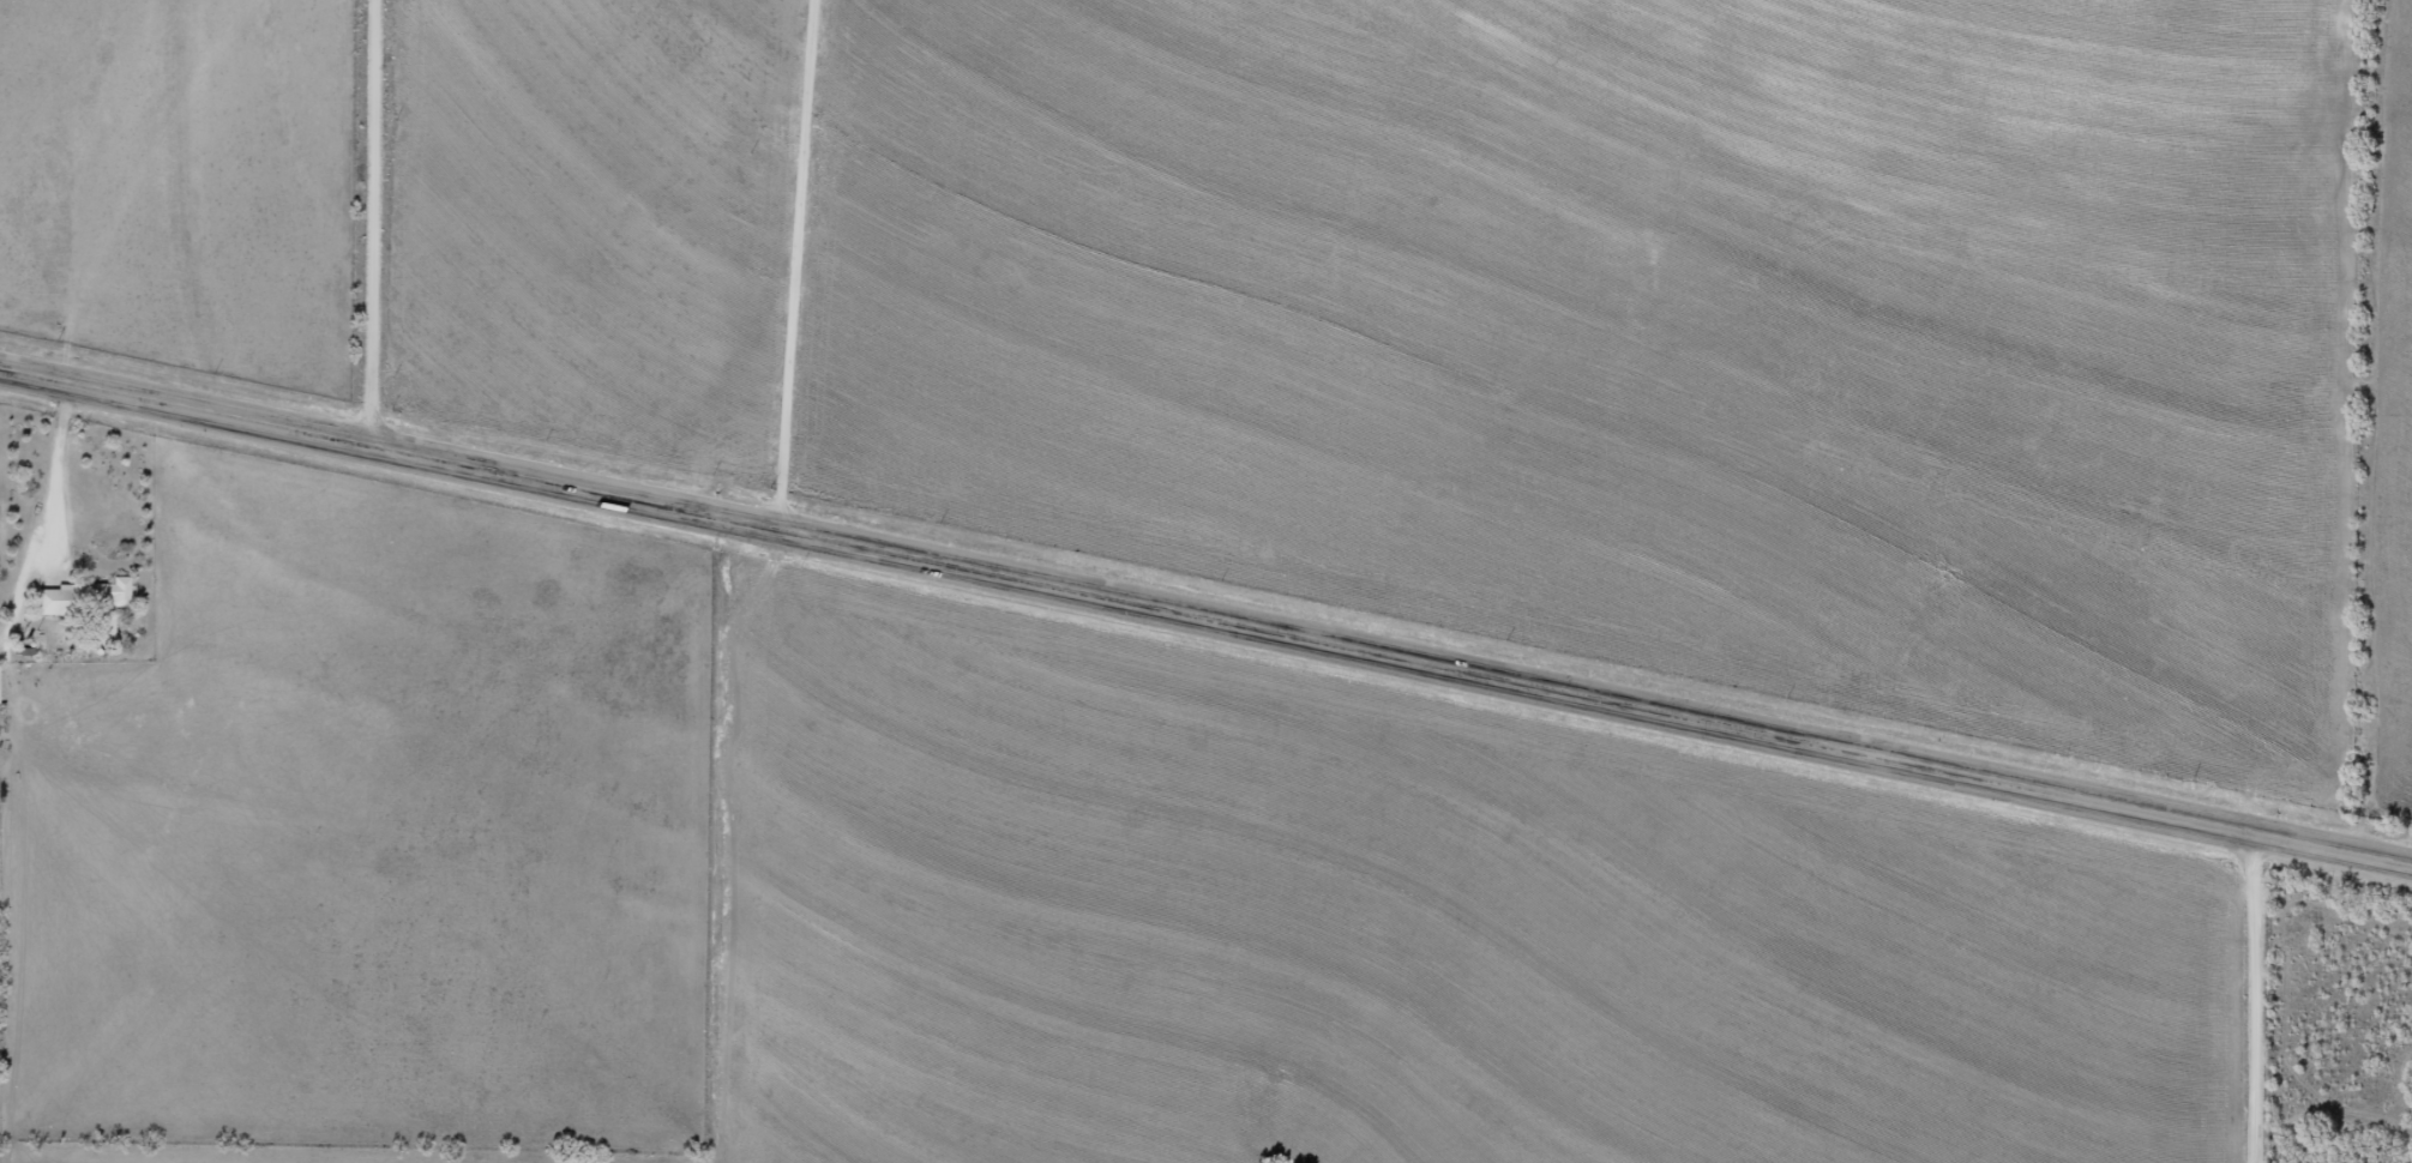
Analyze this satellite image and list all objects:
road: (378, 222)
road: (801, 264)
building: (82, 593)
road: (1205, 615)
road: (2260, 999)

